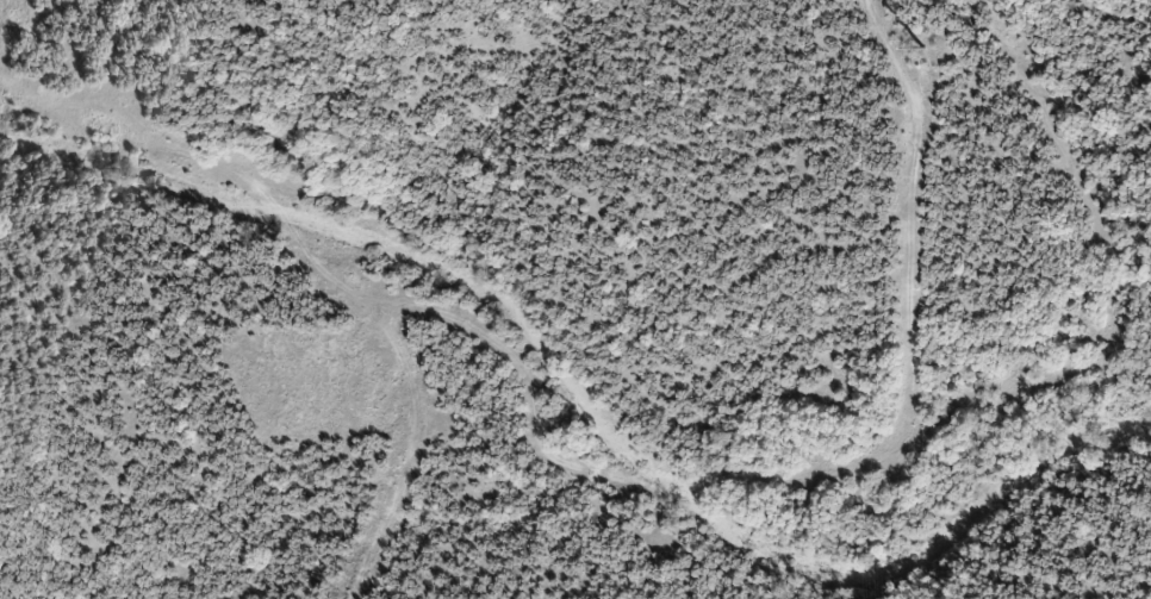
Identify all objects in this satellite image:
power tower: (925, 51)

